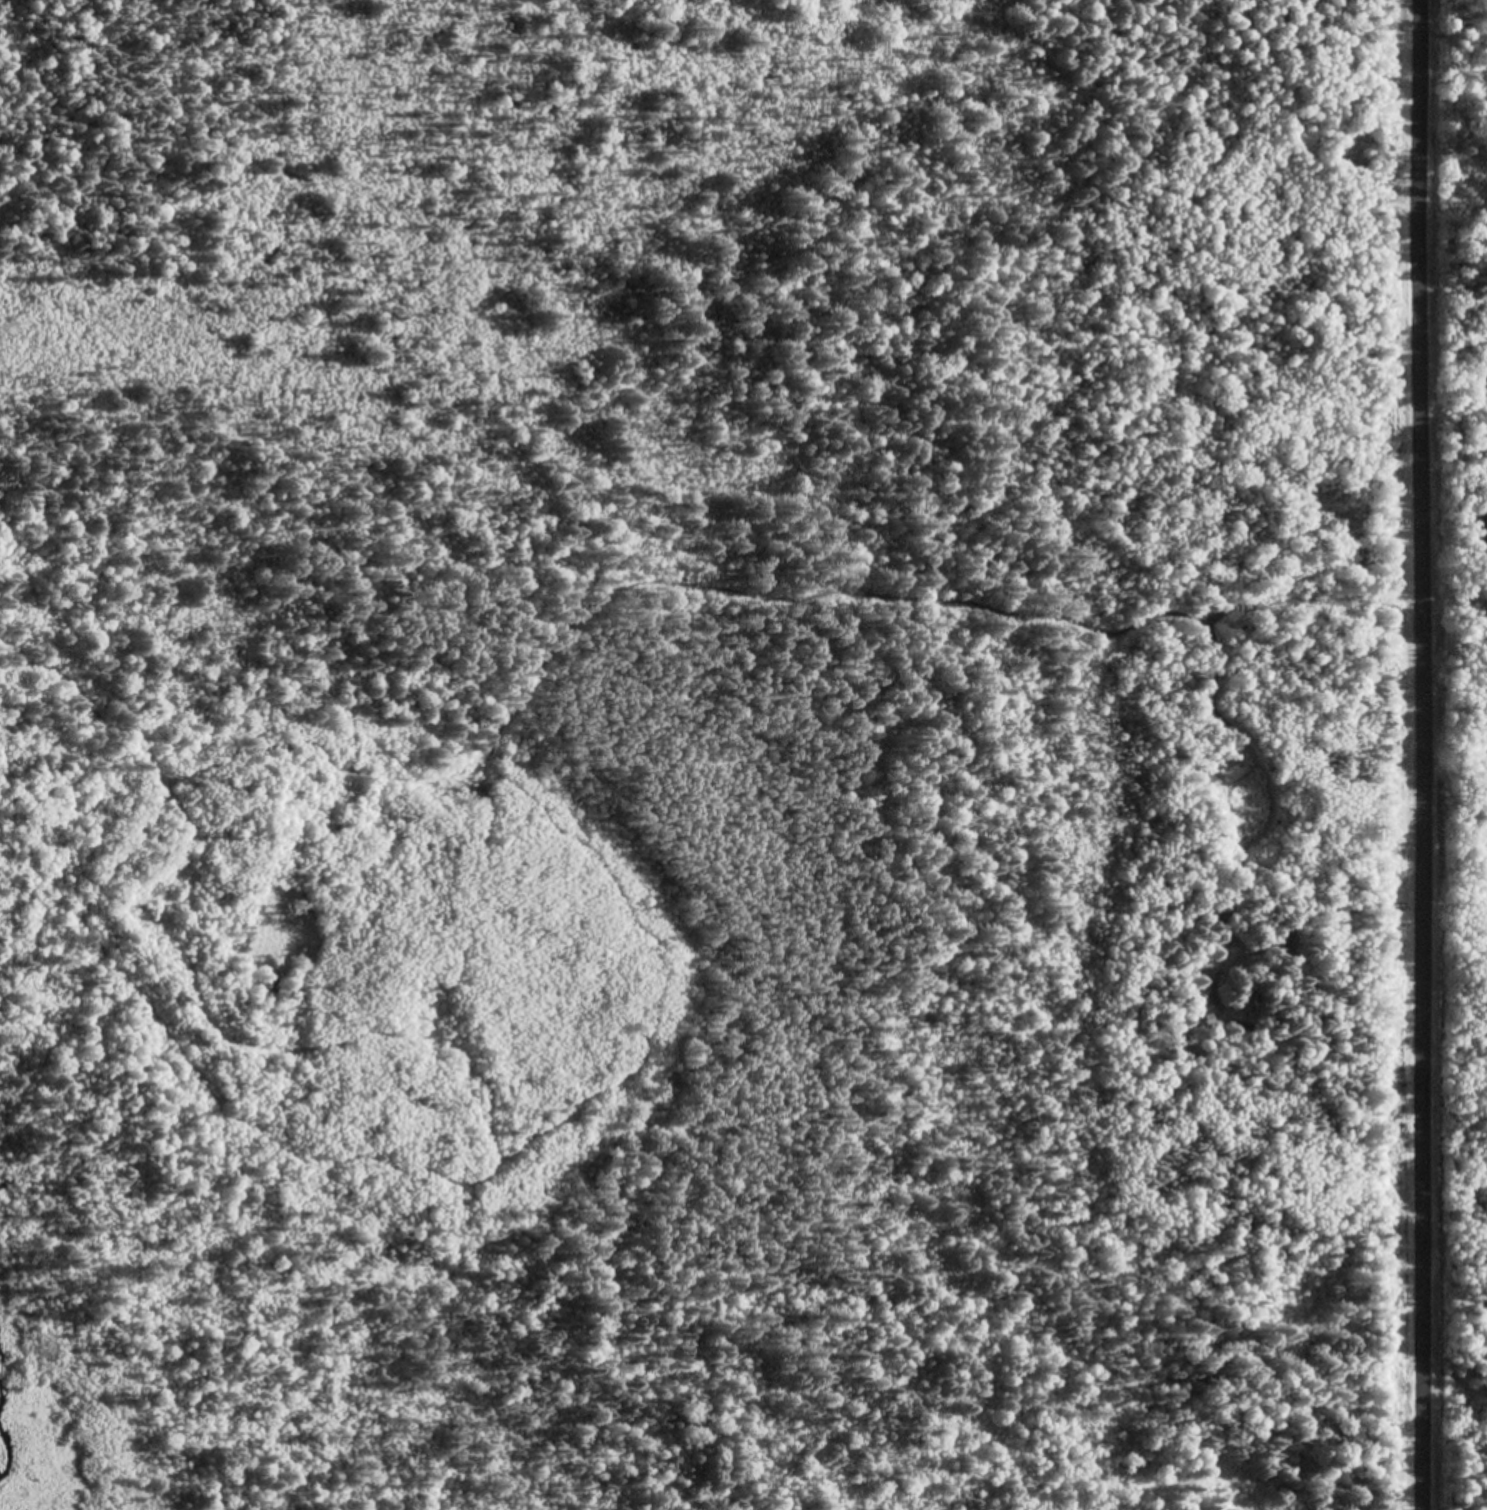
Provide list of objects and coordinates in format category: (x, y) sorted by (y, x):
road: (1418, 754)

